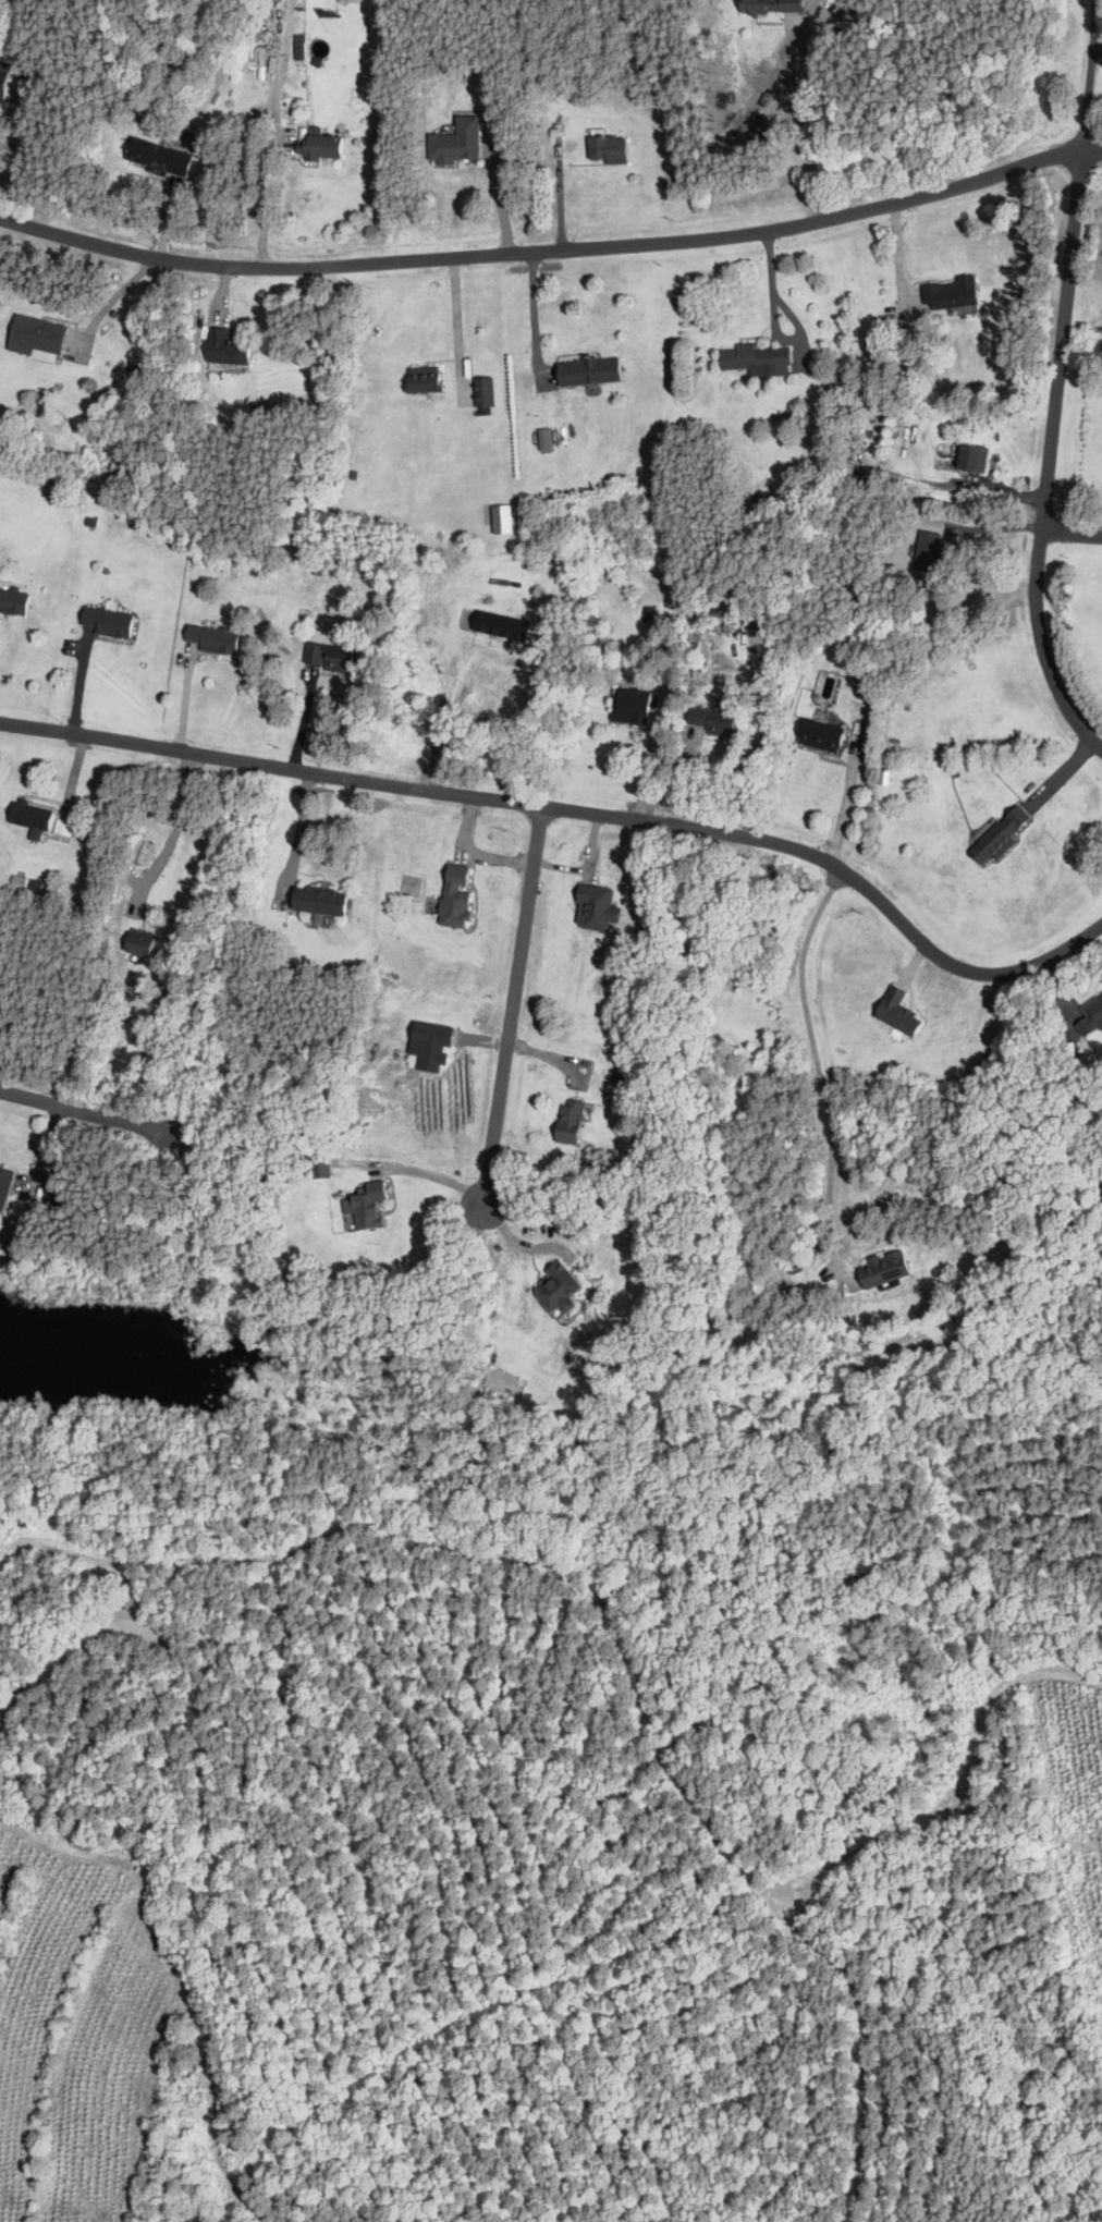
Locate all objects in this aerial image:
building: (770, 5)
building: (299, 46)
road: (1091, 73)
building: (3, 81)
road: (813, 125)
building: (456, 142)
building: (321, 144)
building: (607, 148)
road: (24, 155)
building: (157, 156)
road: (560, 197)
road: (503, 199)
road: (268, 206)
road: (553, 249)
road: (897, 258)
road: (772, 283)
building: (950, 293)
road: (111, 301)
road: (535, 318)
road: (458, 328)
building: (34, 337)
road: (1063, 339)
building: (225, 346)
building: (755, 357)
building: (587, 370)
building: (424, 378)
building: (483, 391)
building: (543, 439)
building: (971, 457)
road: (1072, 535)
building: (929, 551)
building: (13, 601)
building: (108, 622)
building: (210, 639)
road: (1044, 649)
building: (330, 658)
road: (183, 697)
building: (630, 706)
road: (302, 717)
building: (713, 721)
building: (819, 734)
road: (271, 766)
road: (846, 803)
building: (32, 818)
building: (62, 828)
road: (175, 834)
road: (295, 835)
building: (997, 837)
road: (842, 870)
building: (453, 896)
building: (318, 901)
building: (593, 907)
road: (513, 1002)
building: (896, 1013)
building: (1090, 1016)
road: (820, 1074)
road: (83, 1113)
building: (567, 1121)
building: (320, 1168)
building: (3, 1185)
building: (366, 1206)
road: (517, 1242)
building: (882, 1269)
building: (558, 1287)

